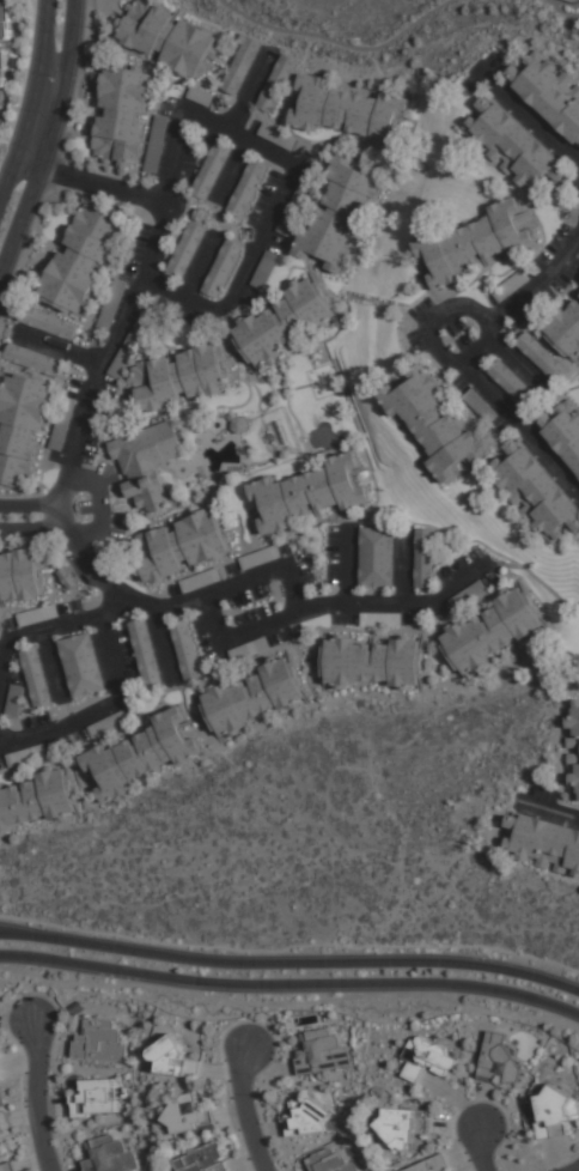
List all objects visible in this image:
park: (572, 1)
road: (551, 7)
building: (4, 20)
park: (392, 23)
building: (167, 37)
road: (337, 44)
building: (239, 65)
building: (1, 68)
building: (276, 83)
building: (549, 91)
road: (250, 92)
building: (199, 97)
road: (30, 102)
building: (348, 111)
building: (122, 116)
road: (531, 117)
building: (276, 138)
road: (47, 139)
building: (157, 144)
building: (513, 146)
road: (55, 168)
building: (211, 168)
road: (236, 169)
road: (91, 182)
building: (246, 188)
road: (170, 190)
building: (294, 211)
building: (339, 213)
building: (471, 249)
building: (185, 250)
building: (81, 257)
road: (200, 267)
building: (221, 268)
building: (263, 269)
building: (511, 285)
building: (110, 305)
building: (47, 322)
building: (282, 322)
road: (435, 324)
building: (566, 332)
building: (127, 347)
road: (60, 348)
building: (542, 357)
building: (33, 360)
road: (474, 362)
building: (178, 377)
building: (510, 381)
building: (481, 405)
park: (327, 406)
building: (433, 423)
building: (61, 424)
building: (22, 427)
building: (562, 431)
building: (146, 462)
building: (536, 491)
building: (307, 492)
road: (99, 504)
road: (30, 505)
road: (32, 526)
building: (181, 545)
building: (258, 558)
building: (377, 558)
building: (425, 560)
road: (348, 566)
road: (404, 568)
building: (22, 576)
building: (199, 580)
building: (469, 596)
road: (294, 599)
road: (110, 606)
building: (36, 615)
building: (379, 620)
road: (37, 631)
building: (492, 632)
road: (239, 635)
road: (165, 641)
building: (184, 649)
building: (248, 649)
building: (144, 655)
building: (373, 663)
building: (80, 665)
building: (35, 678)
building: (254, 696)
building: (12, 702)
road: (97, 710)
building: (108, 724)
building: (572, 751)
building: (140, 754)
building: (25, 756)
building: (38, 800)
road: (553, 812)
building: (544, 844)
road: (23, 934)
road: (313, 963)
road: (289, 983)
road: (289, 1003)
building: (99, 1042)
building: (322, 1051)
building: (498, 1056)
building: (428, 1058)
building: (171, 1060)
building: (1, 1075)
road: (38, 1093)
building: (96, 1098)
building: (1, 1099)
road: (248, 1111)
building: (555, 1114)
building: (187, 1116)
building: (310, 1120)
building: (403, 1128)
building: (0, 1130)
road: (479, 1148)
building: (109, 1155)
building: (203, 1159)
building: (330, 1161)
building: (432, 1165)
building: (7, 1167)

